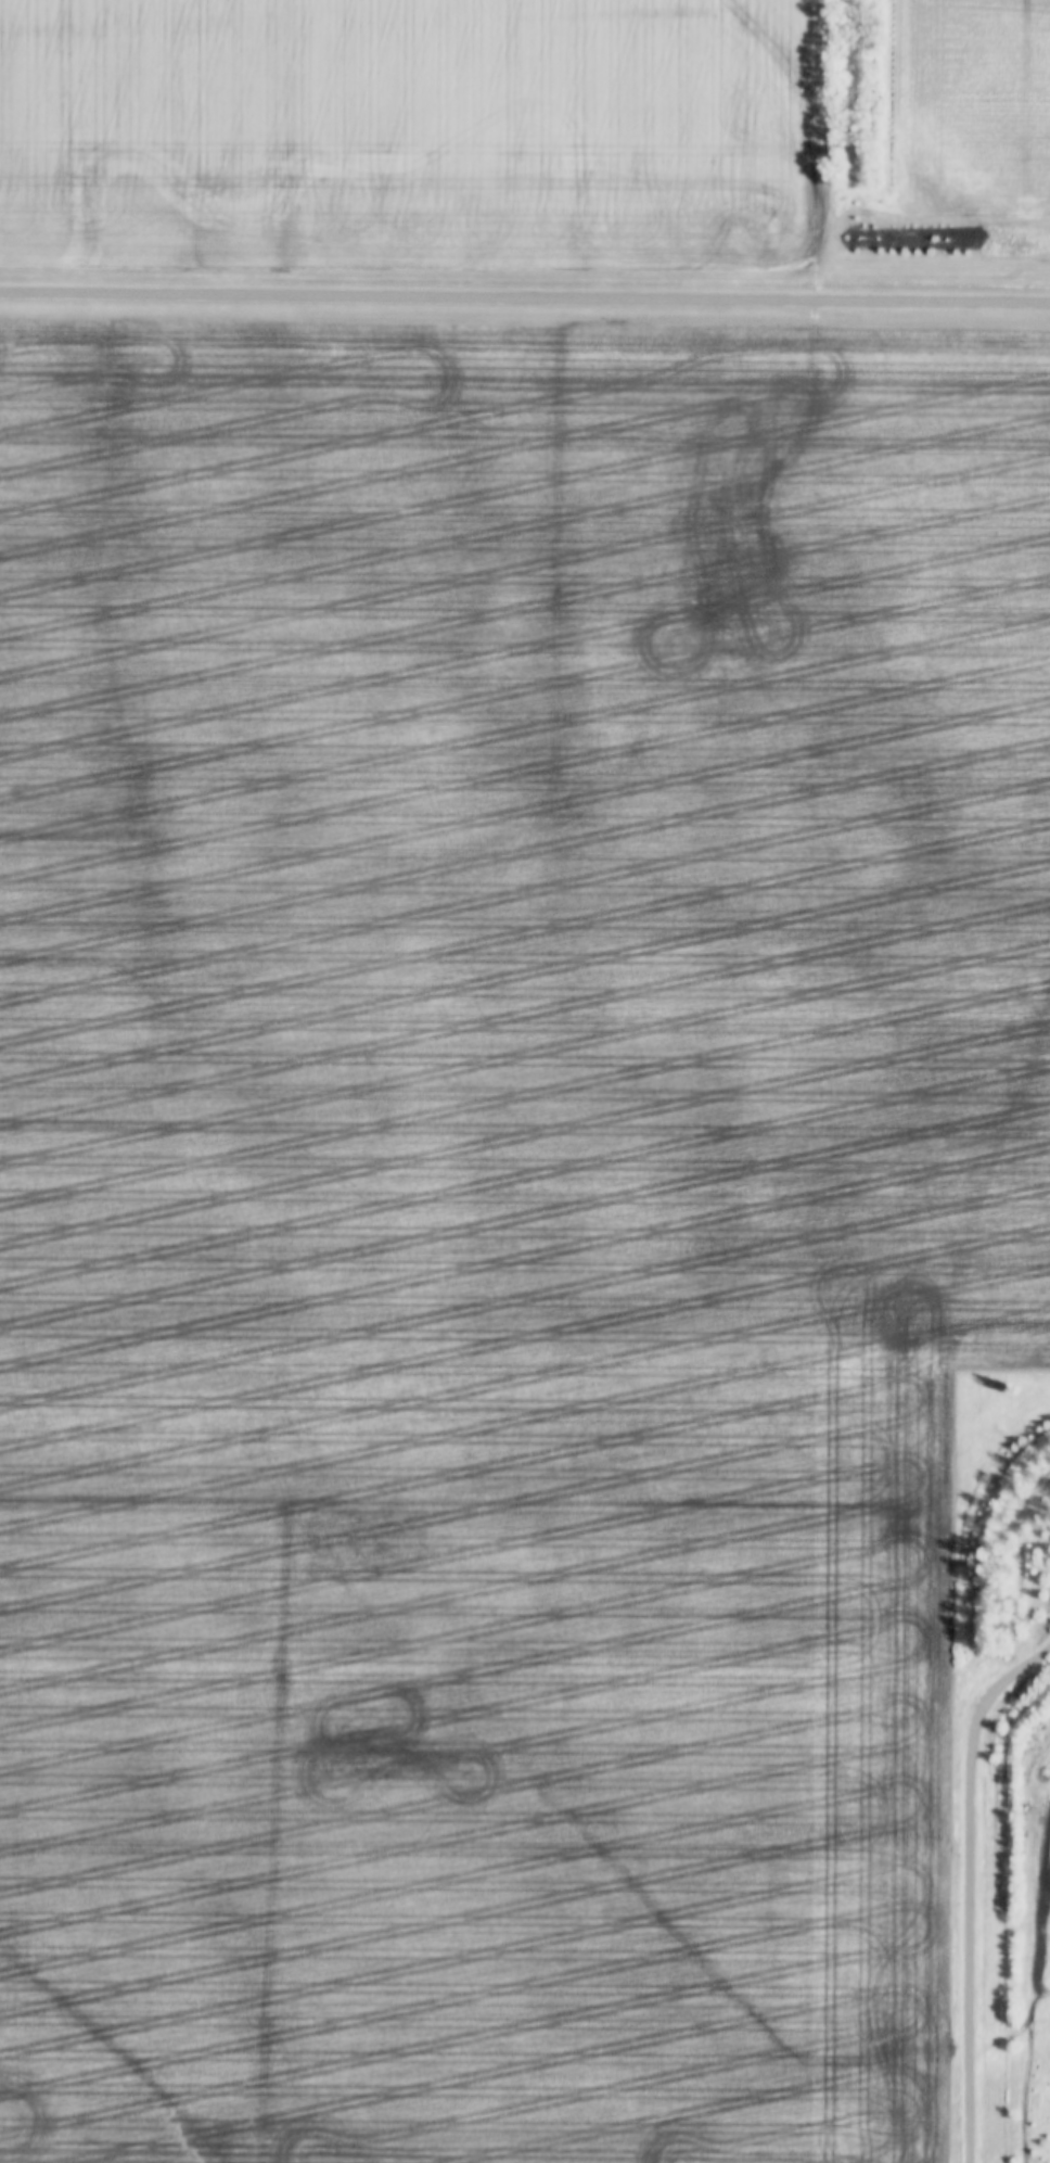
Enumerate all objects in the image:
road: (525, 298)
road: (966, 1888)

